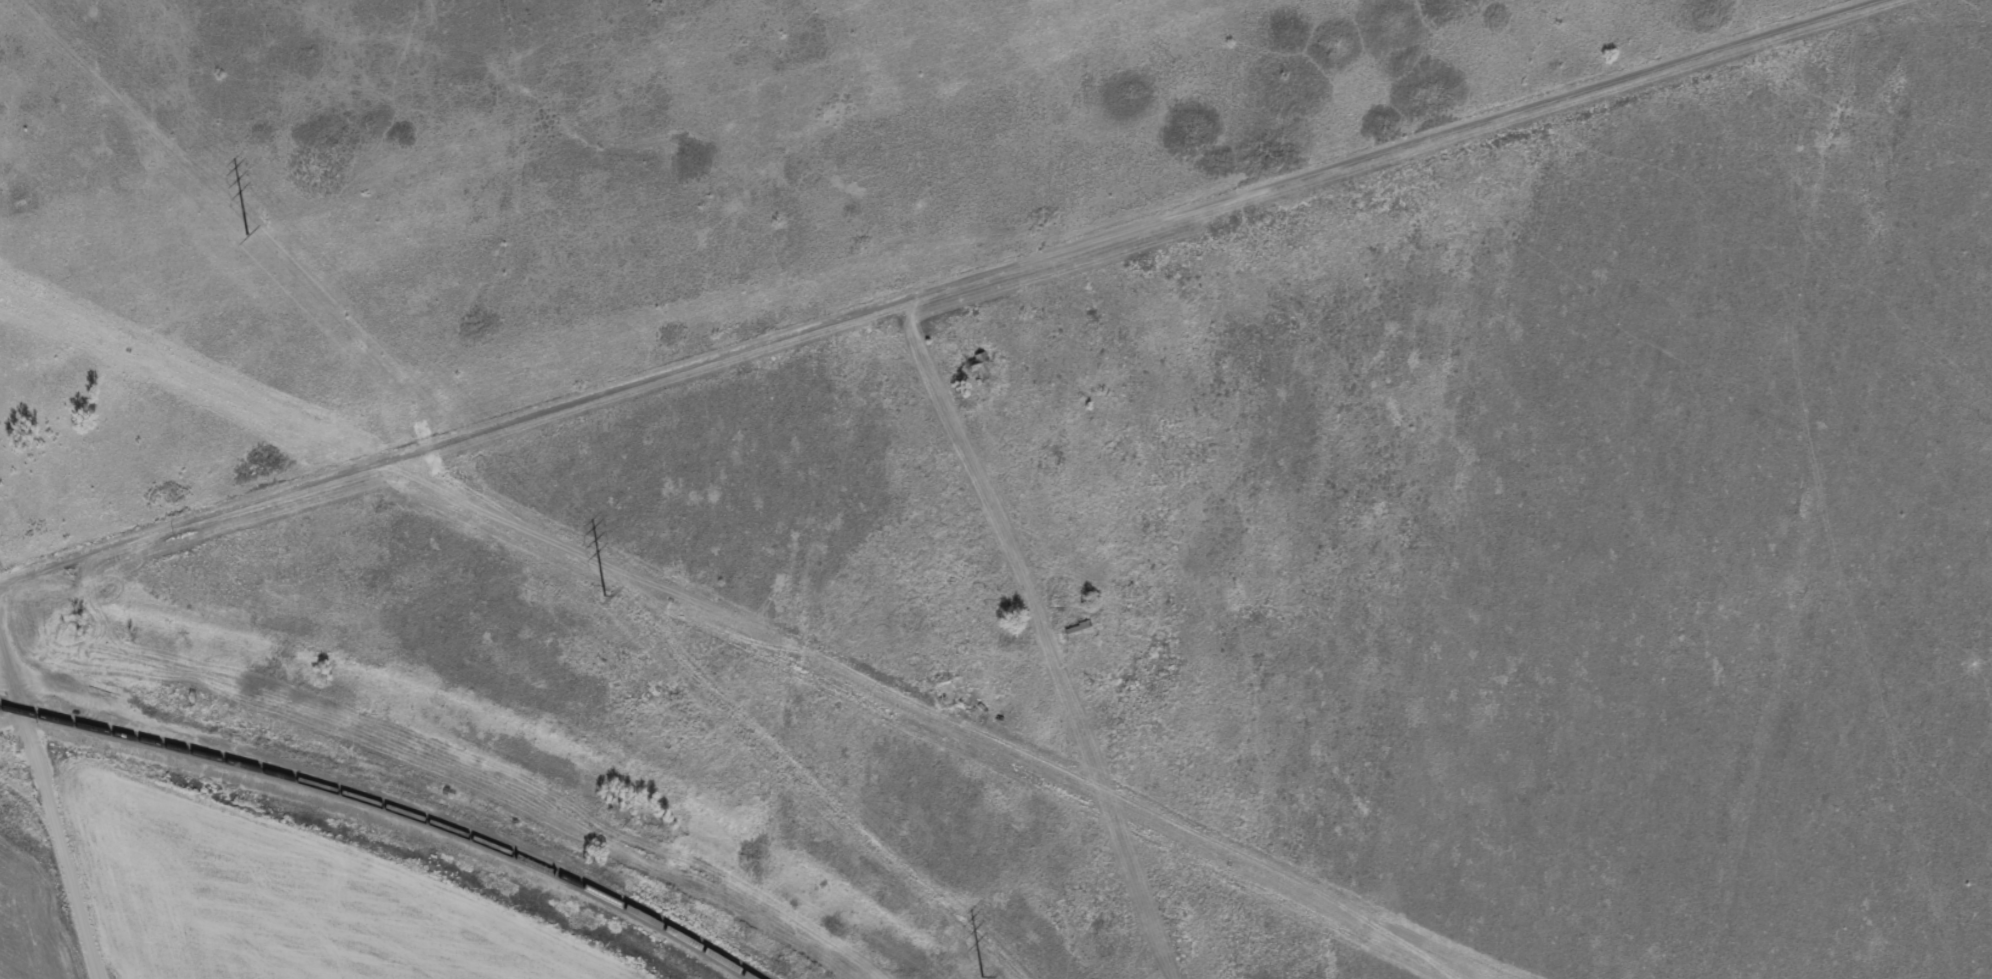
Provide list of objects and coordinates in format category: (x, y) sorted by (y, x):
power tower: (248, 233)
road: (915, 297)
building: (979, 359)
road: (1005, 495)
power tower: (606, 594)
building: (1075, 630)
road: (57, 806)
railway: (391, 806)
power tower: (984, 975)

